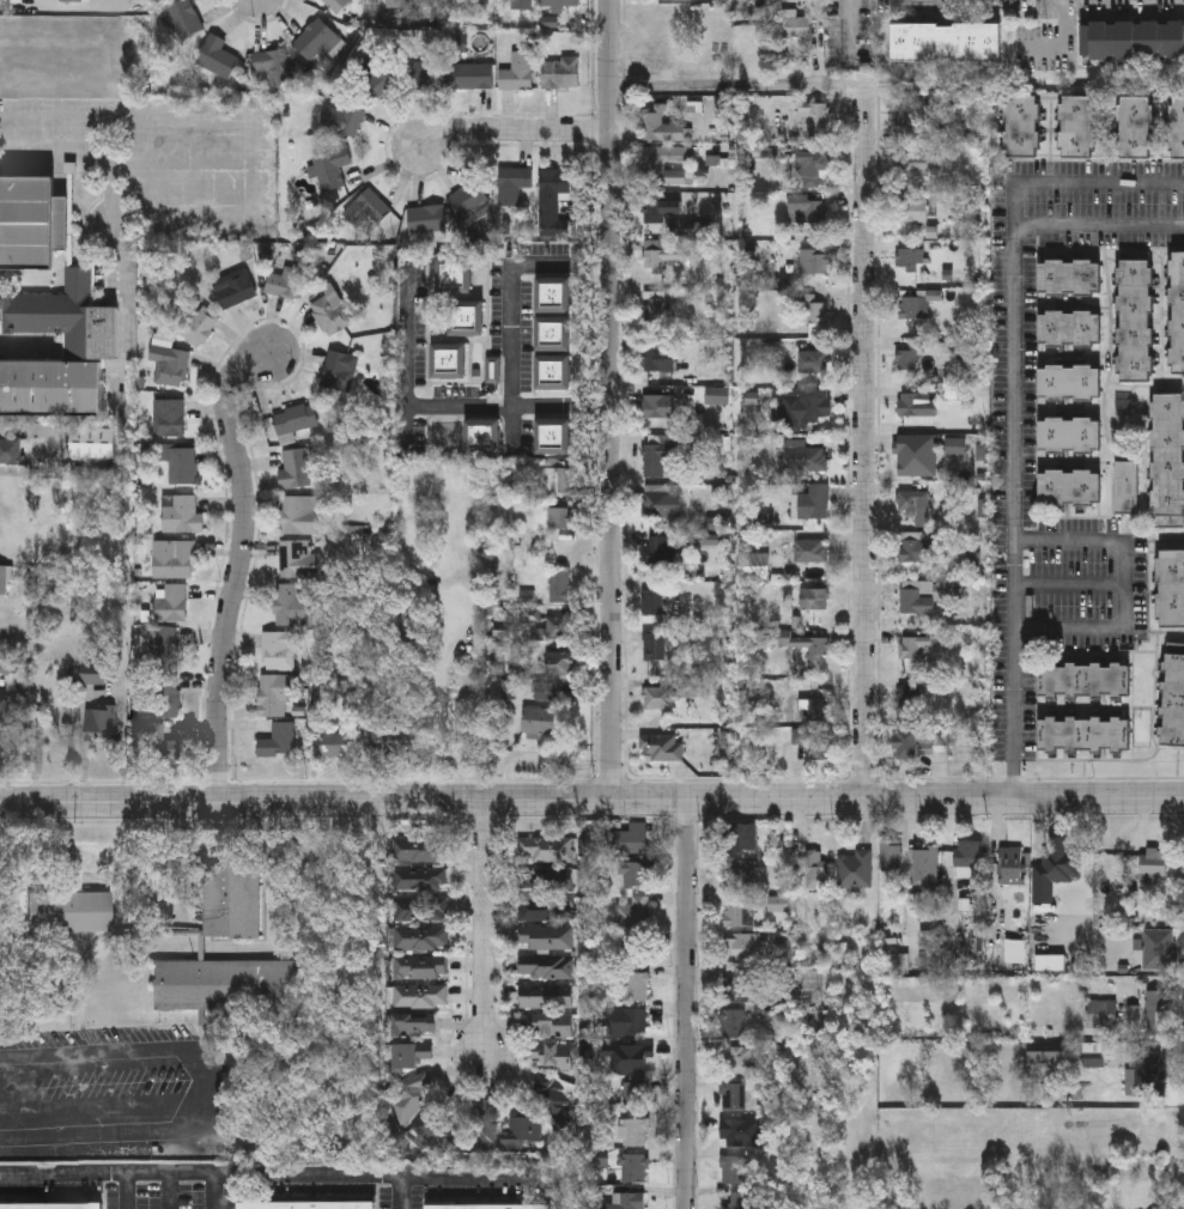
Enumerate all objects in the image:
building: (71, 0)
building: (473, 0)
building: (670, 0)
building: (11, 4)
building: (395, 4)
building: (560, 4)
building: (430, 5)
building: (517, 5)
building: (338, 6)
building: (184, 18)
building: (795, 24)
building: (1133, 40)
building: (316, 41)
building: (946, 42)
road: (1061, 45)
building: (656, 50)
building: (217, 57)
building: (274, 67)
building: (517, 72)
building: (560, 72)
building: (430, 74)
building: (474, 77)
building: (380, 79)
road: (736, 86)
building: (814, 117)
building: (342, 119)
building: (658, 124)
building: (1022, 124)
building: (1079, 126)
building: (1136, 126)
building: (1178, 127)
road: (515, 129)
building: (913, 162)
road: (81, 164)
road: (180, 165)
building: (812, 166)
building: (329, 168)
building: (660, 169)
road: (1075, 183)
building: (514, 184)
road: (256, 190)
building: (552, 192)
building: (472, 200)
building: (654, 206)
building: (366, 208)
building: (808, 208)
building: (912, 211)
building: (426, 223)
building: (32, 224)
road: (1098, 226)
building: (656, 256)
building: (911, 259)
building: (814, 262)
building: (455, 278)
building: (1070, 278)
building: (286, 284)
road: (509, 285)
building: (235, 288)
building: (554, 297)
building: (913, 308)
building: (655, 310)
building: (815, 311)
building: (1177, 312)
building: (330, 315)
building: (1135, 315)
building: (467, 318)
building: (199, 326)
building: (1070, 328)
building: (554, 335)
building: (90, 350)
building: (658, 359)
building: (813, 362)
building: (449, 363)
building: (169, 366)
building: (493, 370)
building: (339, 371)
building: (554, 375)
building: (1070, 382)
road: (609, 400)
road: (443, 405)
building: (911, 405)
building: (658, 407)
building: (813, 409)
building: (169, 419)
building: (293, 421)
road: (511, 426)
building: (482, 436)
building: (1070, 436)
building: (553, 437)
road: (864, 442)
building: (93, 443)
building: (955, 446)
building: (11, 450)
building: (656, 458)
building: (912, 460)
building: (1167, 460)
building: (803, 462)
building: (182, 467)
building: (295, 469)
building: (557, 478)
building: (1070, 487)
building: (1125, 487)
building: (913, 500)
building: (657, 502)
building: (813, 503)
road: (1013, 512)
building: (182, 515)
building: (302, 515)
building: (559, 518)
building: (915, 547)
building: (810, 551)
building: (660, 552)
building: (172, 558)
building: (298, 559)
road: (238, 563)
building: (753, 566)
building: (5, 579)
road: (1125, 583)
road: (1069, 587)
building: (559, 588)
building: (1171, 588)
building: (921, 595)
building: (814, 599)
building: (651, 602)
building: (172, 603)
building: (293, 604)
building: (408, 625)
building: (559, 627)
building: (804, 642)
building: (168, 643)
building: (918, 644)
building: (656, 646)
building: (280, 649)
building: (557, 663)
building: (7, 667)
building: (1086, 679)
building: (546, 691)
building: (274, 693)
building: (166, 694)
building: (1173, 694)
building: (909, 695)
building: (658, 698)
building: (814, 709)
building: (2, 713)
building: (99, 721)
building: (538, 721)
road: (438, 734)
building: (1085, 735)
building: (936, 737)
building: (278, 740)
building: (979, 740)
building: (159, 741)
building: (393, 741)
building: (335, 745)
building: (658, 745)
building: (907, 745)
building: (1, 753)
road: (591, 801)
building: (735, 838)
building: (630, 840)
building: (546, 852)
building: (419, 853)
building: (891, 856)
building: (969, 859)
building: (1154, 863)
building: (1057, 864)
building: (1014, 868)
building: (927, 869)
building: (854, 871)
building: (634, 876)
building: (737, 879)
building: (816, 879)
building: (419, 882)
building: (231, 903)
building: (420, 910)
building: (538, 910)
building: (71, 912)
building: (632, 915)
building: (739, 916)
road: (484, 931)
building: (545, 940)
building: (420, 941)
building: (741, 950)
building: (1015, 950)
building: (633, 952)
building: (545, 970)
building: (227, 983)
building: (420, 985)
building: (741, 988)
building: (633, 989)
building: (545, 998)
road: (686, 1004)
building: (1156, 1013)
building: (1100, 1016)
building: (627, 1023)
building: (733, 1026)
building: (413, 1029)
building: (546, 1029)
building: (411, 1055)
building: (1094, 1056)
building: (551, 1058)
building: (636, 1062)
building: (742, 1062)
building: (1046, 1064)
building: (1150, 1076)
road: (208, 1092)
building: (409, 1095)
building: (553, 1098)
building: (634, 1098)
building: (734, 1099)
building: (436, 1126)
building: (485, 1126)
building: (522, 1135)
building: (633, 1135)
building: (737, 1136)
building: (632, 1169)
road: (218, 1171)
building: (734, 1172)
road: (469, 1184)
road: (123, 1190)
road: (215, 1190)
building: (627, 1202)
building: (740, 1202)
building: (50, 1205)
building: (306, 1205)
building: (488, 1207)

